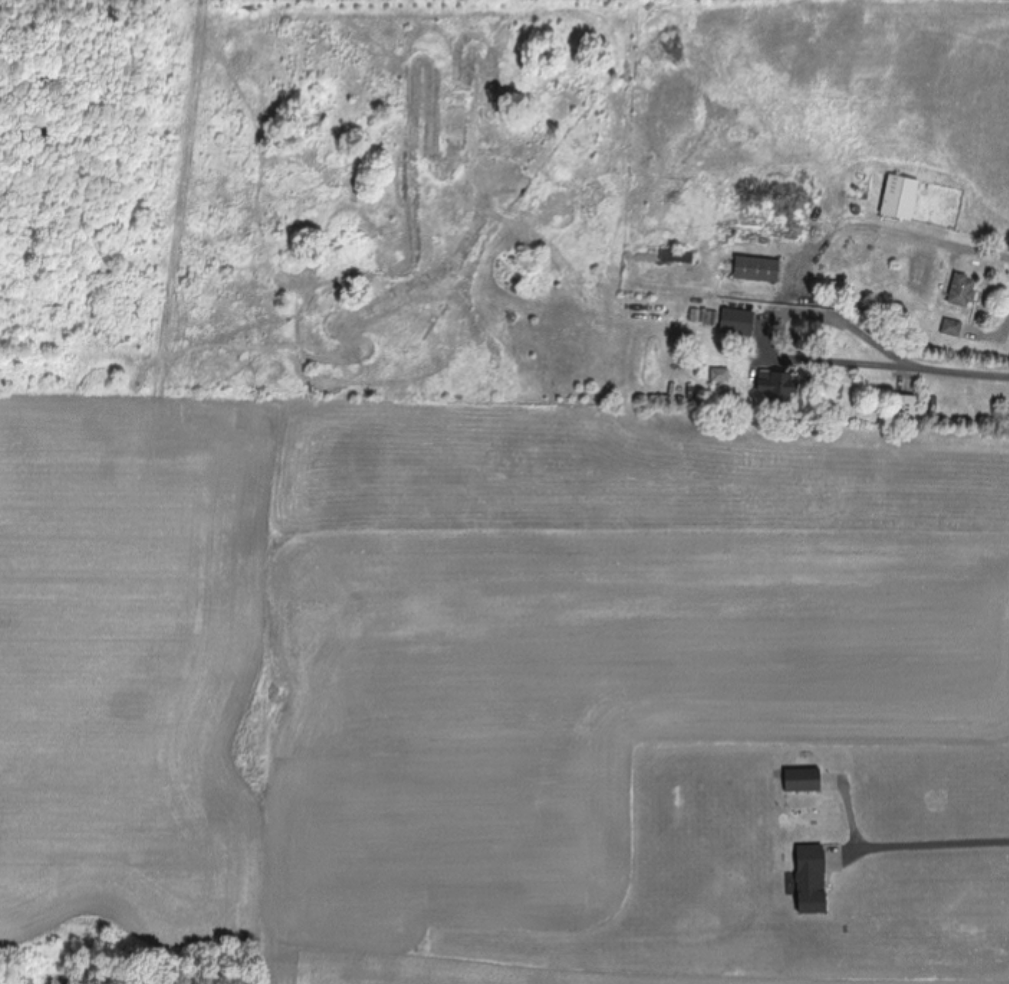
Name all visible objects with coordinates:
building: (899, 199)
road: (728, 200)
building: (768, 213)
building: (677, 258)
road: (811, 259)
building: (756, 270)
building: (962, 291)
building: (736, 322)
building: (951, 328)
road: (968, 335)
building: (720, 375)
building: (774, 387)
building: (801, 782)
road: (919, 843)
building: (809, 880)

